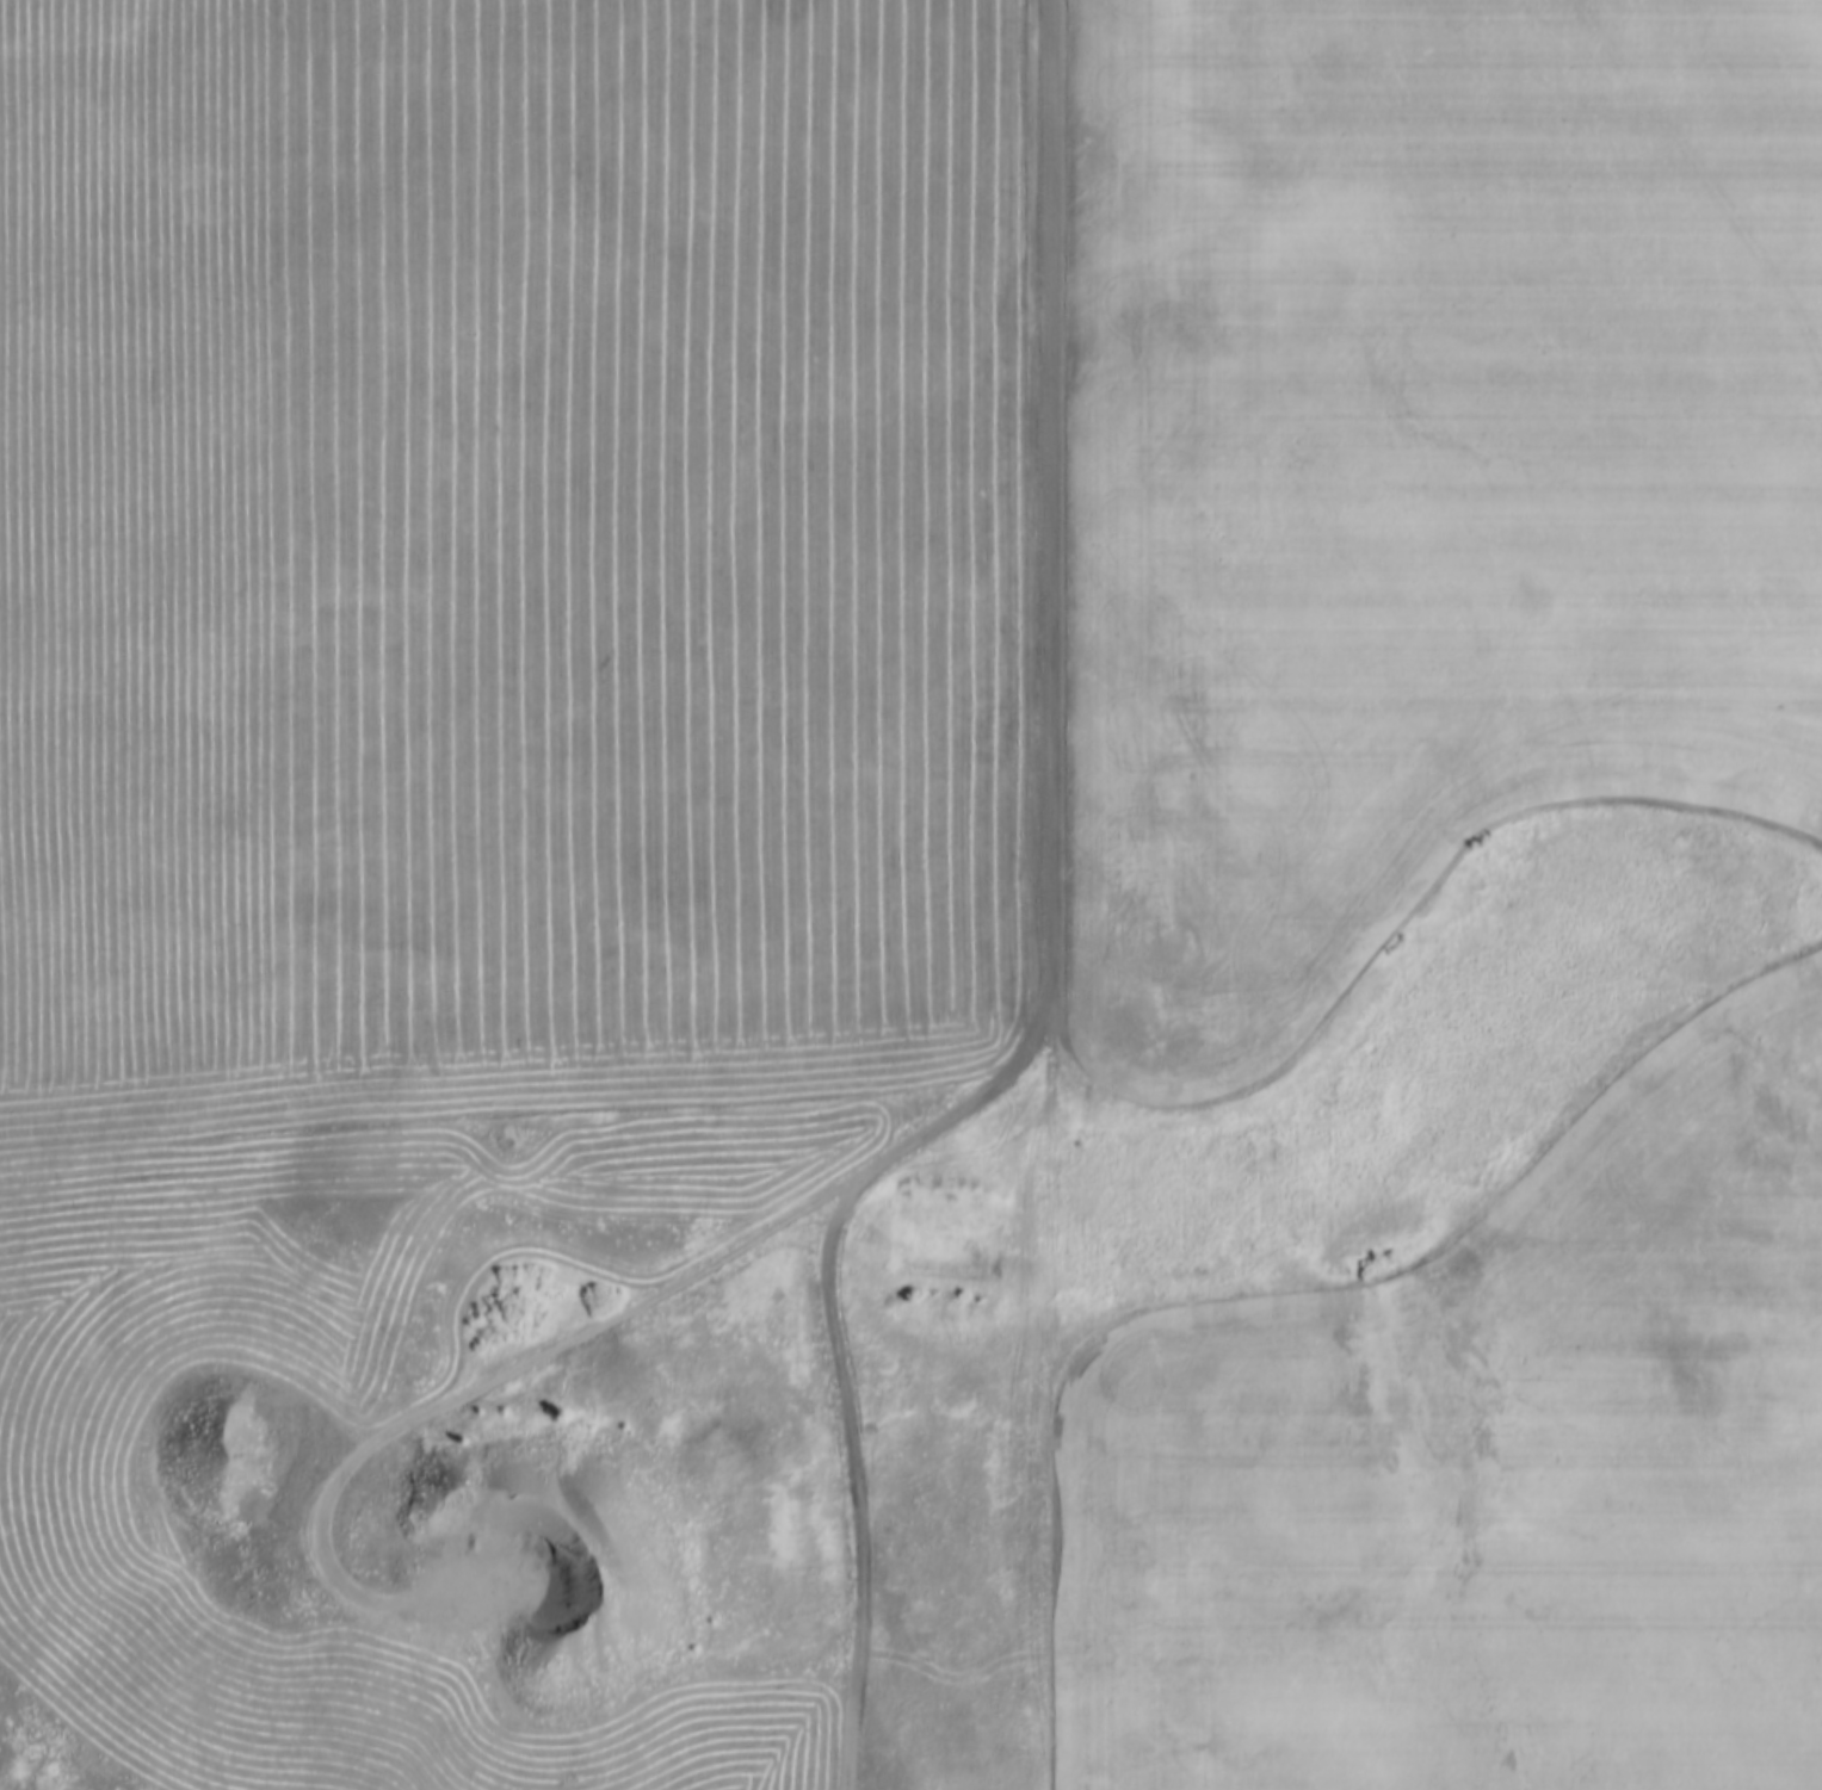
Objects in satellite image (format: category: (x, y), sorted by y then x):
road: (1052, 894)
road: (556, 1348)
quarry: (428, 1559)

